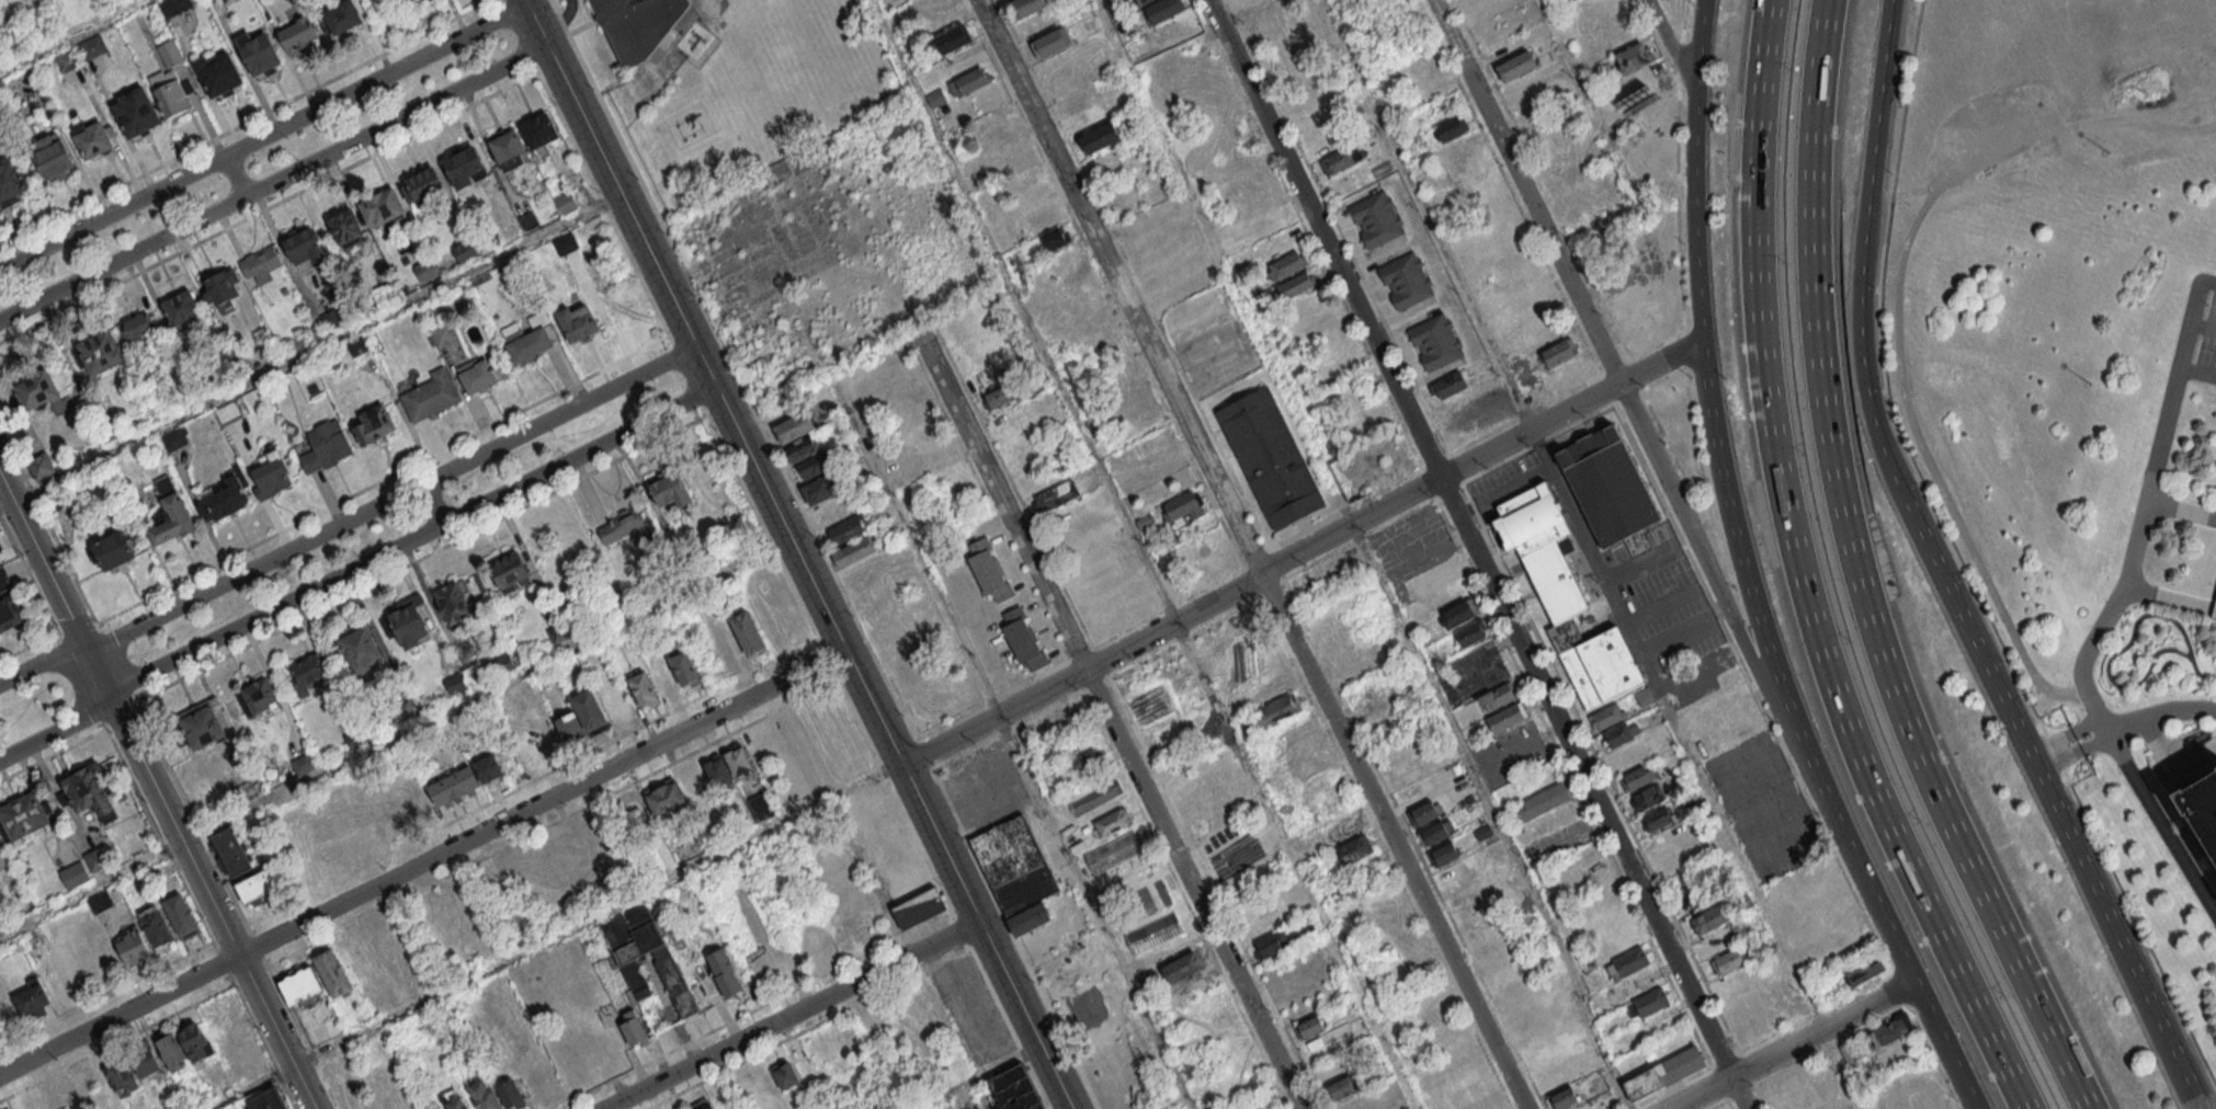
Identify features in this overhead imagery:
building: (1143, 1)
building: (173, 5)
building: (927, 5)
building: (1027, 7)
building: (1162, 9)
building: (342, 14)
building: (639, 25)
building: (298, 33)
road: (71, 36)
building: (950, 38)
building: (1050, 42)
building: (93, 44)
building: (257, 49)
road: (1670, 50)
building: (169, 53)
building: (1633, 56)
building: (1515, 66)
road: (1353, 70)
building: (217, 71)
building: (969, 81)
building: (170, 92)
building: (936, 98)
building: (135, 112)
building: (1090, 118)
building: (992, 122)
building: (1448, 127)
building: (539, 129)
road: (262, 136)
building: (1099, 137)
building: (92, 139)
road: (1613, 145)
building: (508, 146)
building: (1459, 149)
road: (2005, 150)
building: (1014, 158)
building: (55, 159)
building: (1341, 159)
building: (466, 165)
road: (235, 175)
building: (1024, 176)
building: (10, 178)
road: (273, 181)
building: (424, 183)
building: (1578, 187)
road: (1529, 192)
building: (1032, 198)
building: (565, 202)
building: (382, 206)
building: (1377, 219)
building: (529, 220)
building: (345, 226)
building: (1056, 238)
building: (303, 245)
building: (466, 250)
building: (259, 262)
building: (1285, 263)
building: (428, 270)
building: (1075, 279)
building: (1406, 281)
building: (1296, 284)
road: (1459, 285)
building: (224, 286)
building: (1087, 299)
building: (181, 305)
building: (331, 318)
road: (2195, 321)
building: (578, 322)
building: (138, 324)
road: (2205, 325)
building: (442, 332)
parking lot: (2196, 332)
building: (357, 343)
building: (1435, 343)
building: (529, 344)
building: (100, 351)
road: (312, 352)
building: (1559, 353)
building: (1334, 369)
building: (475, 373)
road: (2200, 374)
road: (1706, 376)
building: (1451, 384)
building: (35, 389)
building: (430, 395)
building: (998, 397)
building: (1133, 402)
road: (1571, 408)
building: (228, 411)
building: (374, 423)
building: (796, 426)
road: (1878, 436)
building: (174, 437)
building: (325, 446)
building: (802, 448)
building: (1270, 457)
road: (1929, 465)
building: (814, 467)
building: (272, 473)
building: (1609, 484)
building: (822, 488)
building: (670, 490)
building: (1056, 494)
building: (224, 499)
road: (436, 500)
road: (1338, 501)
building: (1186, 504)
road: (349, 518)
building: (172, 519)
building: (623, 526)
building: (845, 528)
building: (113, 548)
building: (1541, 548)
building: (852, 550)
road: (1479, 552)
road: (1143, 553)
road: (1439, 553)
road: (796, 554)
road: (1251, 556)
parking lot: (1417, 557)
road: (1704, 564)
road: (354, 567)
building: (988, 568)
building: (509, 570)
road: (1262, 571)
road: (1859, 574)
building: (1435, 575)
road: (1803, 575)
road: (1609, 582)
building: (8, 602)
building: (453, 602)
building: (2214, 609)
parking lot: (2214, 609)
building: (1459, 613)
building: (409, 625)
building: (559, 631)
building: (747, 632)
building: (1468, 633)
building: (1023, 640)
building: (726, 643)
building: (360, 648)
road: (2091, 650)
road: (1488, 652)
building: (1596, 663)
building: (501, 664)
building: (1711, 664)
building: (311, 667)
building: (684, 667)
building: (909, 675)
building: (662, 677)
building: (1672, 679)
building: (454, 683)
building: (643, 687)
building: (260, 695)
building: (1496, 695)
building: (1645, 698)
building: (1281, 705)
building: (589, 709)
road: (992, 717)
building: (1508, 717)
building: (1607, 718)
road: (1110, 722)
road: (2122, 724)
building: (203, 725)
building: (570, 727)
building: (1621, 735)
building: (355, 736)
road: (395, 736)
road: (1531, 742)
road: (1012, 743)
building: (1087, 758)
building: (739, 761)
building: (303, 763)
building: (488, 767)
building: (717, 769)
building: (1635, 777)
road: (1571, 780)
building: (454, 785)
parking lot: (984, 787)
building: (91, 790)
road: (158, 793)
building: (1646, 796)
building: (418, 797)
building: (1094, 797)
building: (666, 798)
building: (1542, 802)
building: (2202, 805)
building: (761, 807)
parking lot: (1765, 807)
building: (1422, 814)
building: (24, 815)
building: (1659, 819)
building: (1113, 821)
building: (1343, 830)
building: (349, 832)
building: (1433, 835)
building: (1355, 848)
building: (231, 851)
building: (1113, 851)
building: (899, 855)
building: (1443, 855)
building: (99, 858)
road: (1855, 861)
road: (422, 862)
building: (1014, 865)
building: (156, 871)
building: (75, 874)
building: (258, 883)
road: (1757, 895)
building: (98, 902)
building: (918, 908)
building: (181, 915)
building: (1030, 917)
building: (1709, 917)
building: (157, 927)
building: (630, 931)
road: (555, 936)
building: (1617, 942)
building: (1270, 945)
building: (133, 946)
building: (1727, 960)
building: (359, 961)
building: (1630, 961)
building: (1184, 964)
building: (1863, 970)
road: (2134, 971)
building: (332, 972)
building: (725, 972)
building: (636, 980)
building: (673, 981)
building: (299, 985)
building: (32, 996)
building: (1650, 1002)
crop: (1099, 1014)
road: (792, 1016)
building: (332, 1025)
building: (1309, 1026)
building: (1890, 1029)
building: (634, 1031)
building: (195, 1043)
road: (1792, 1045)
road: (1942, 1045)
building: (172, 1052)
road: (1604, 1054)
building: (144, 1057)
building: (1664, 1073)
building: (786, 1076)
building: (121, 1077)
building: (1553, 1078)
road: (971, 1082)
road: (1669, 1086)
building: (1342, 1087)
building: (1014, 1089)
building: (510, 1094)
building: (482, 1095)
building: (1562, 1097)
building: (268, 1100)
building: (456, 1104)
building: (1353, 1104)
building: (707, 1107)

